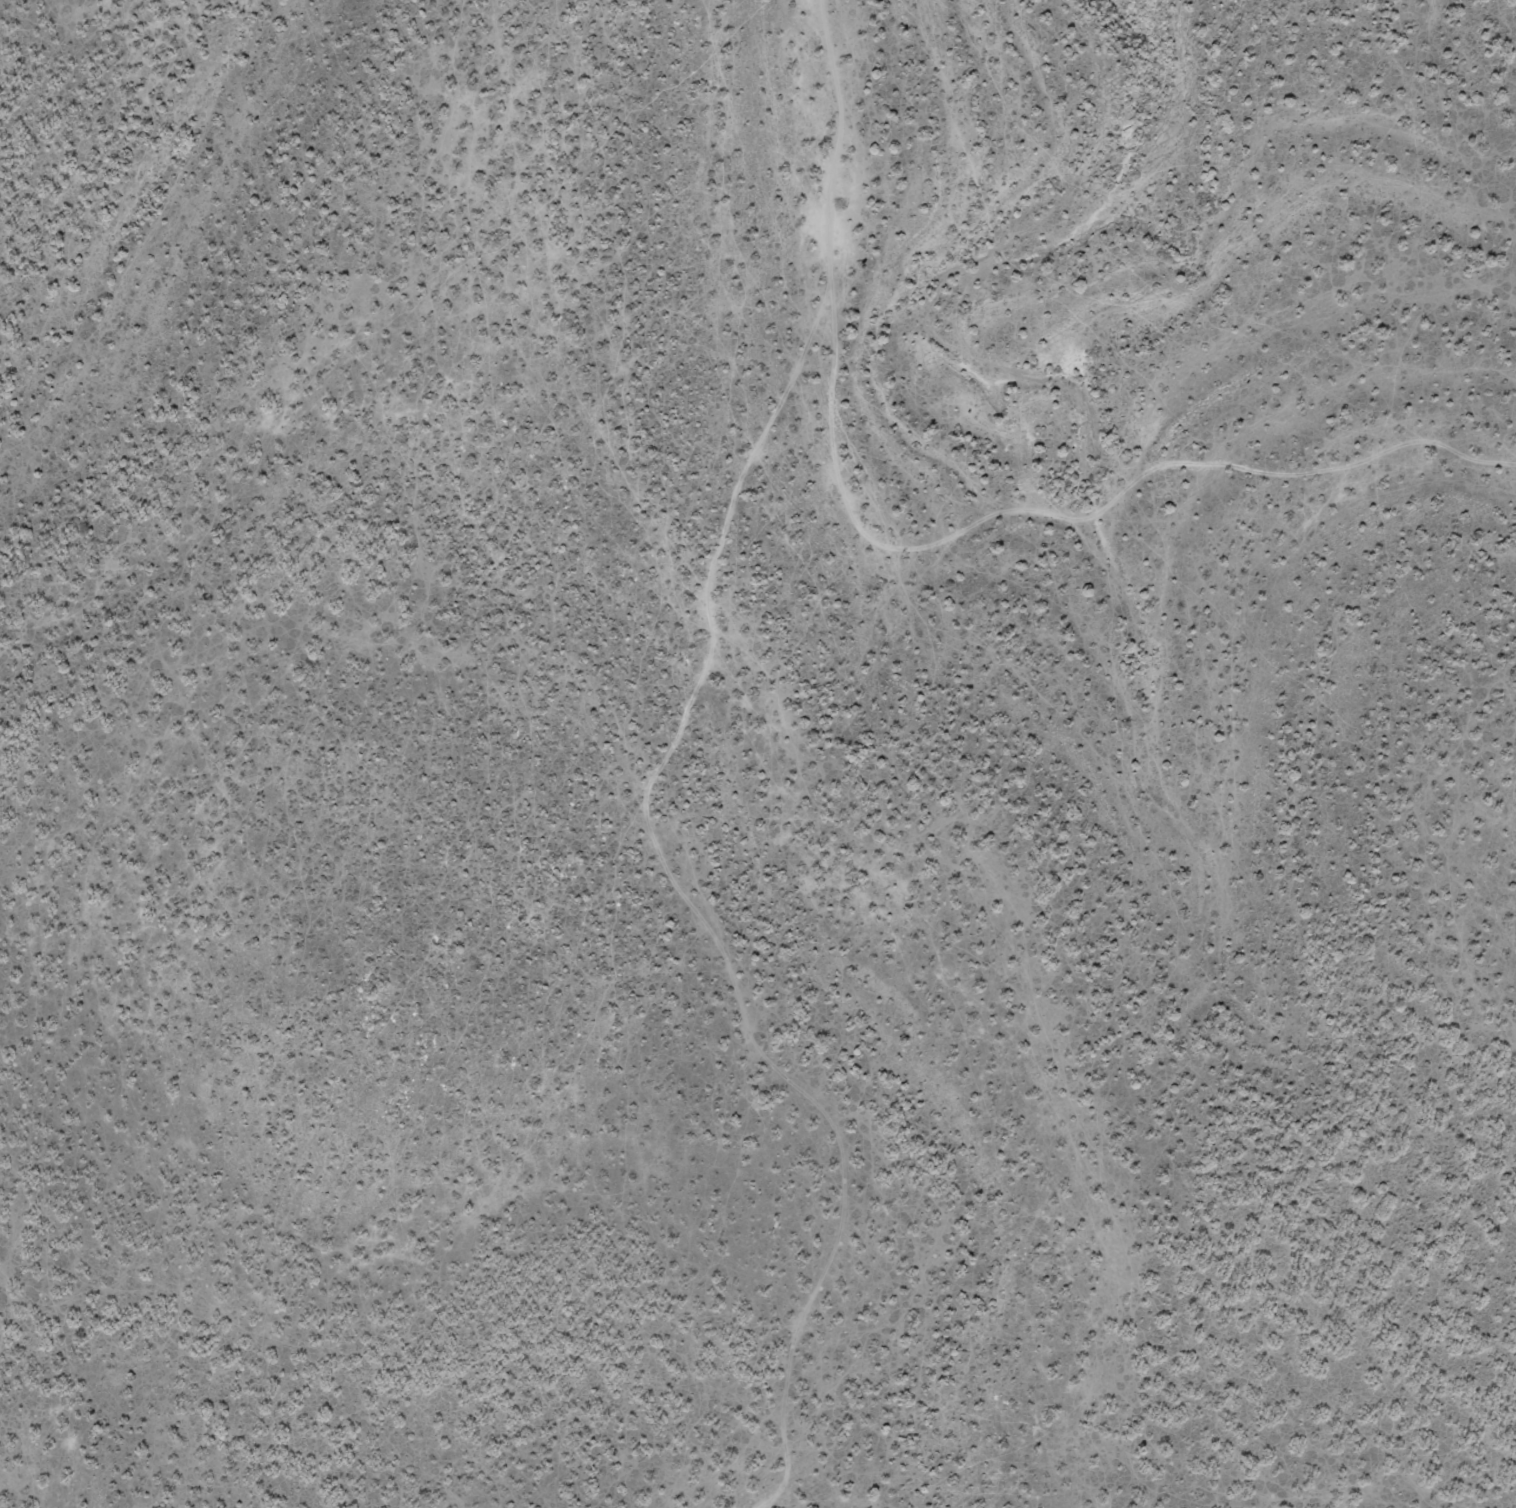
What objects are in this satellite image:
road: (925, 537)

